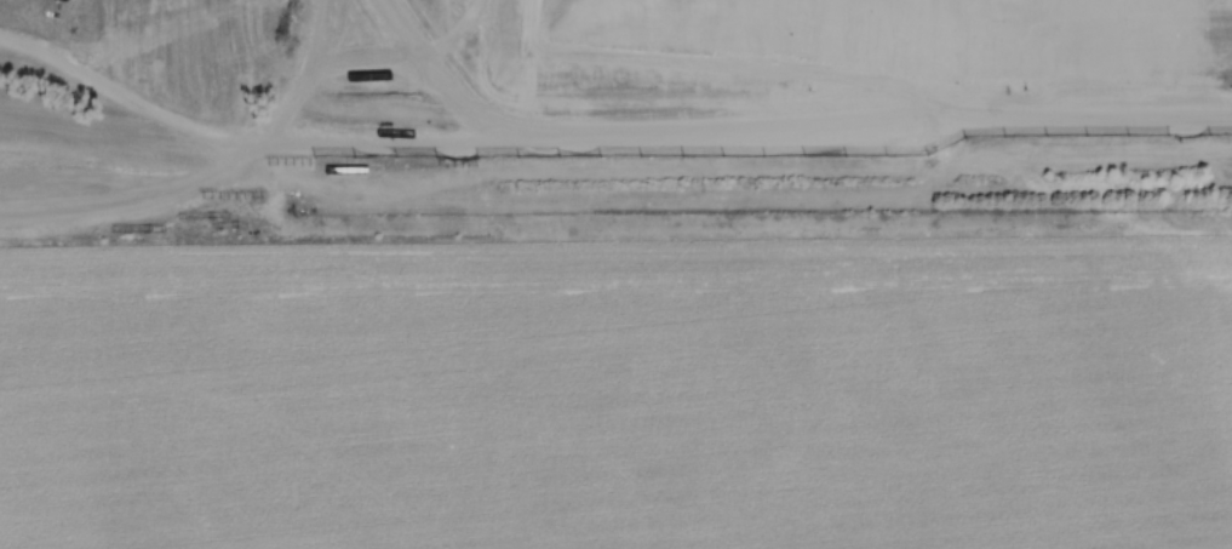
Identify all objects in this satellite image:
road: (774, 154)
crop: (621, 396)

